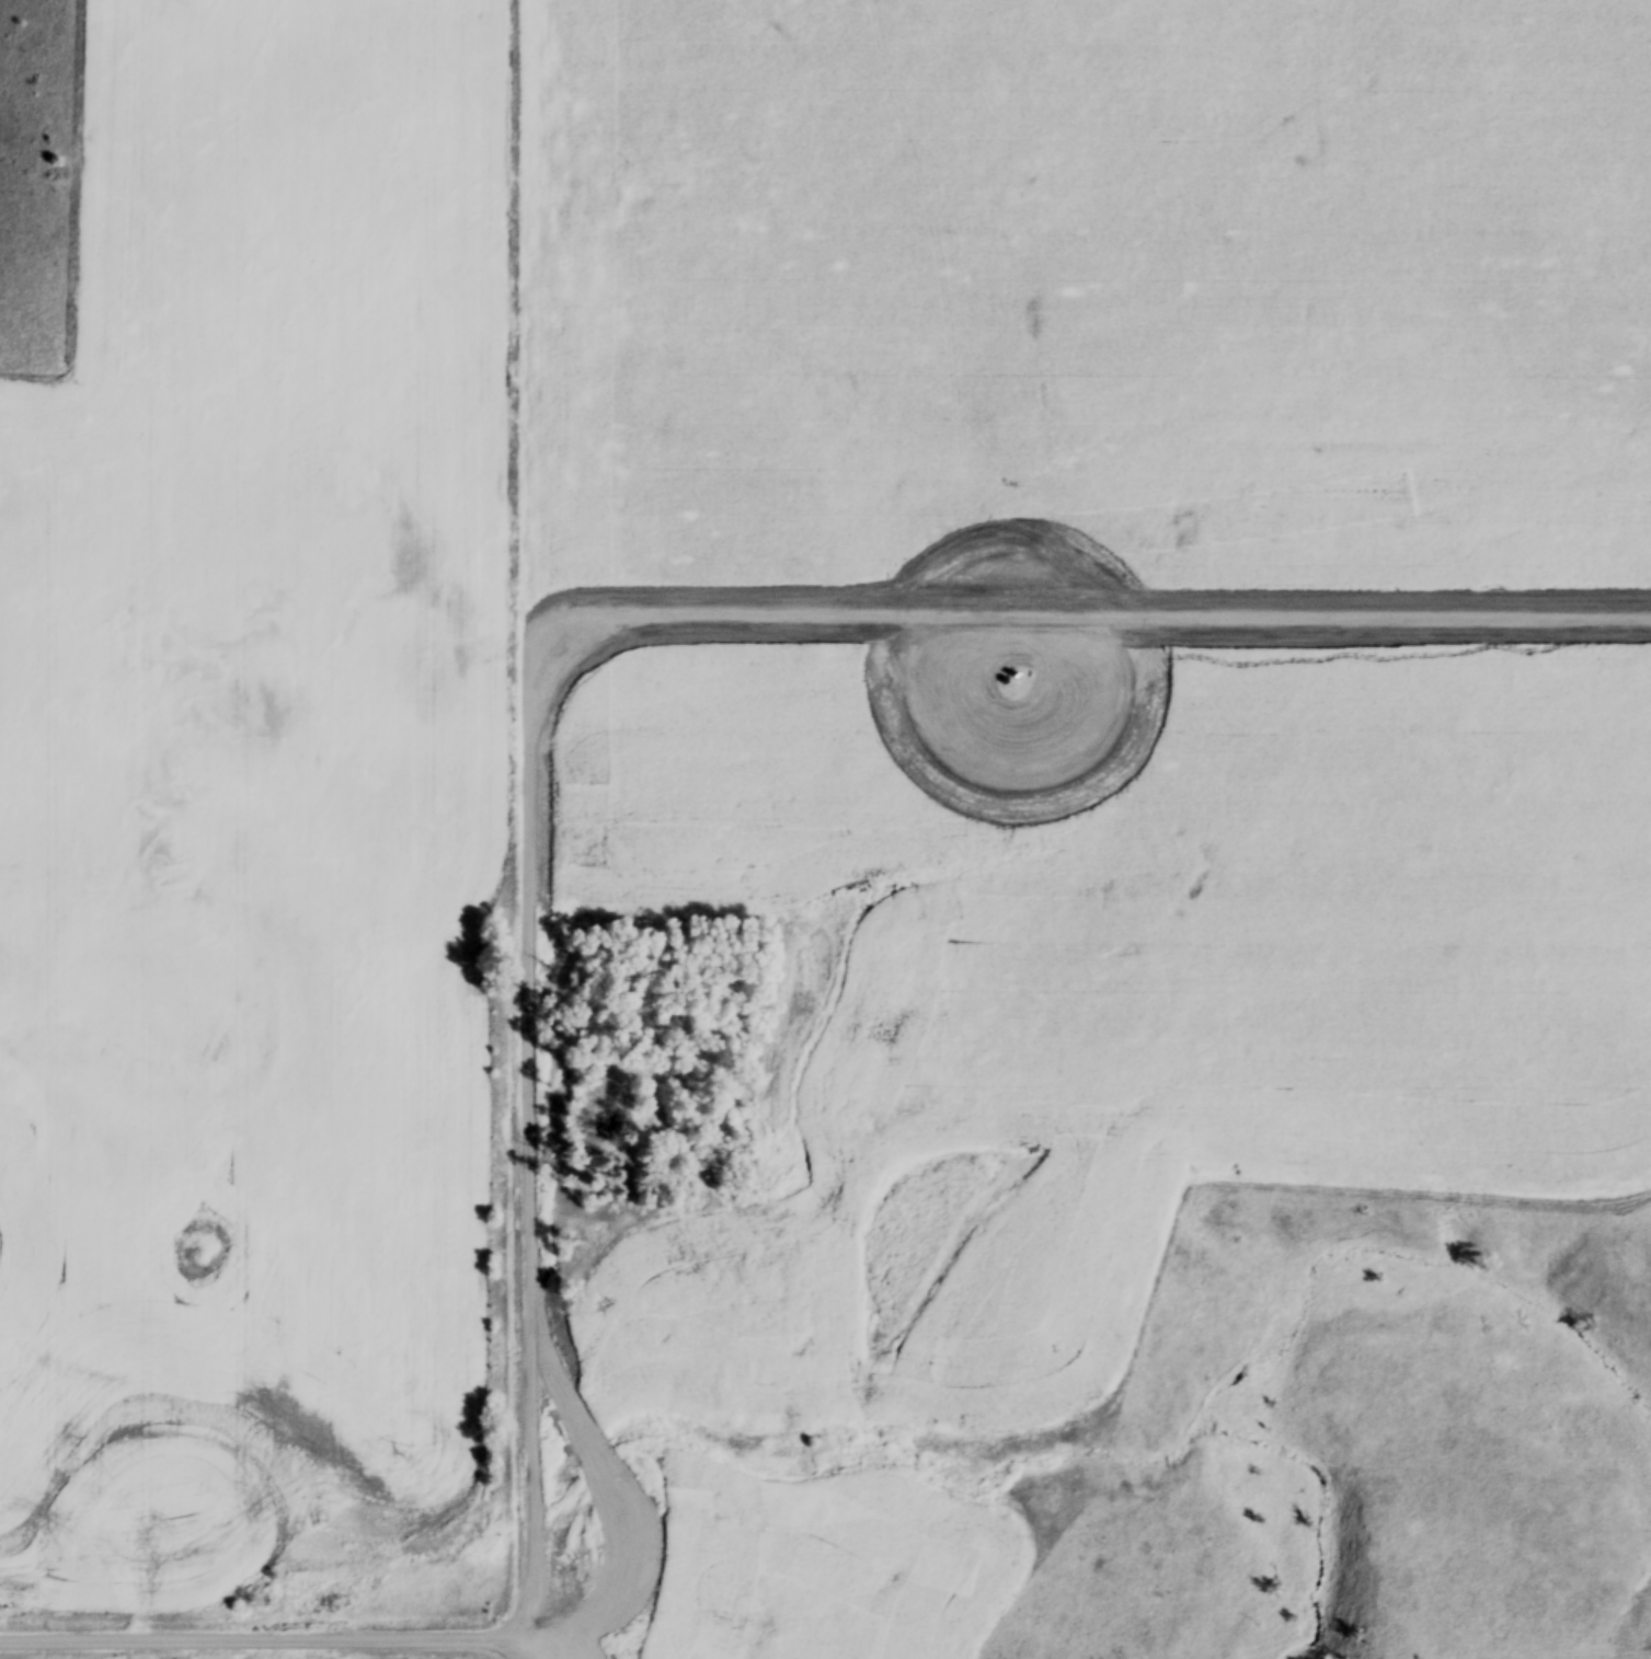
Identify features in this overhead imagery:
wind turbine: (1008, 691)
road: (516, 1320)
road: (260, 1638)

